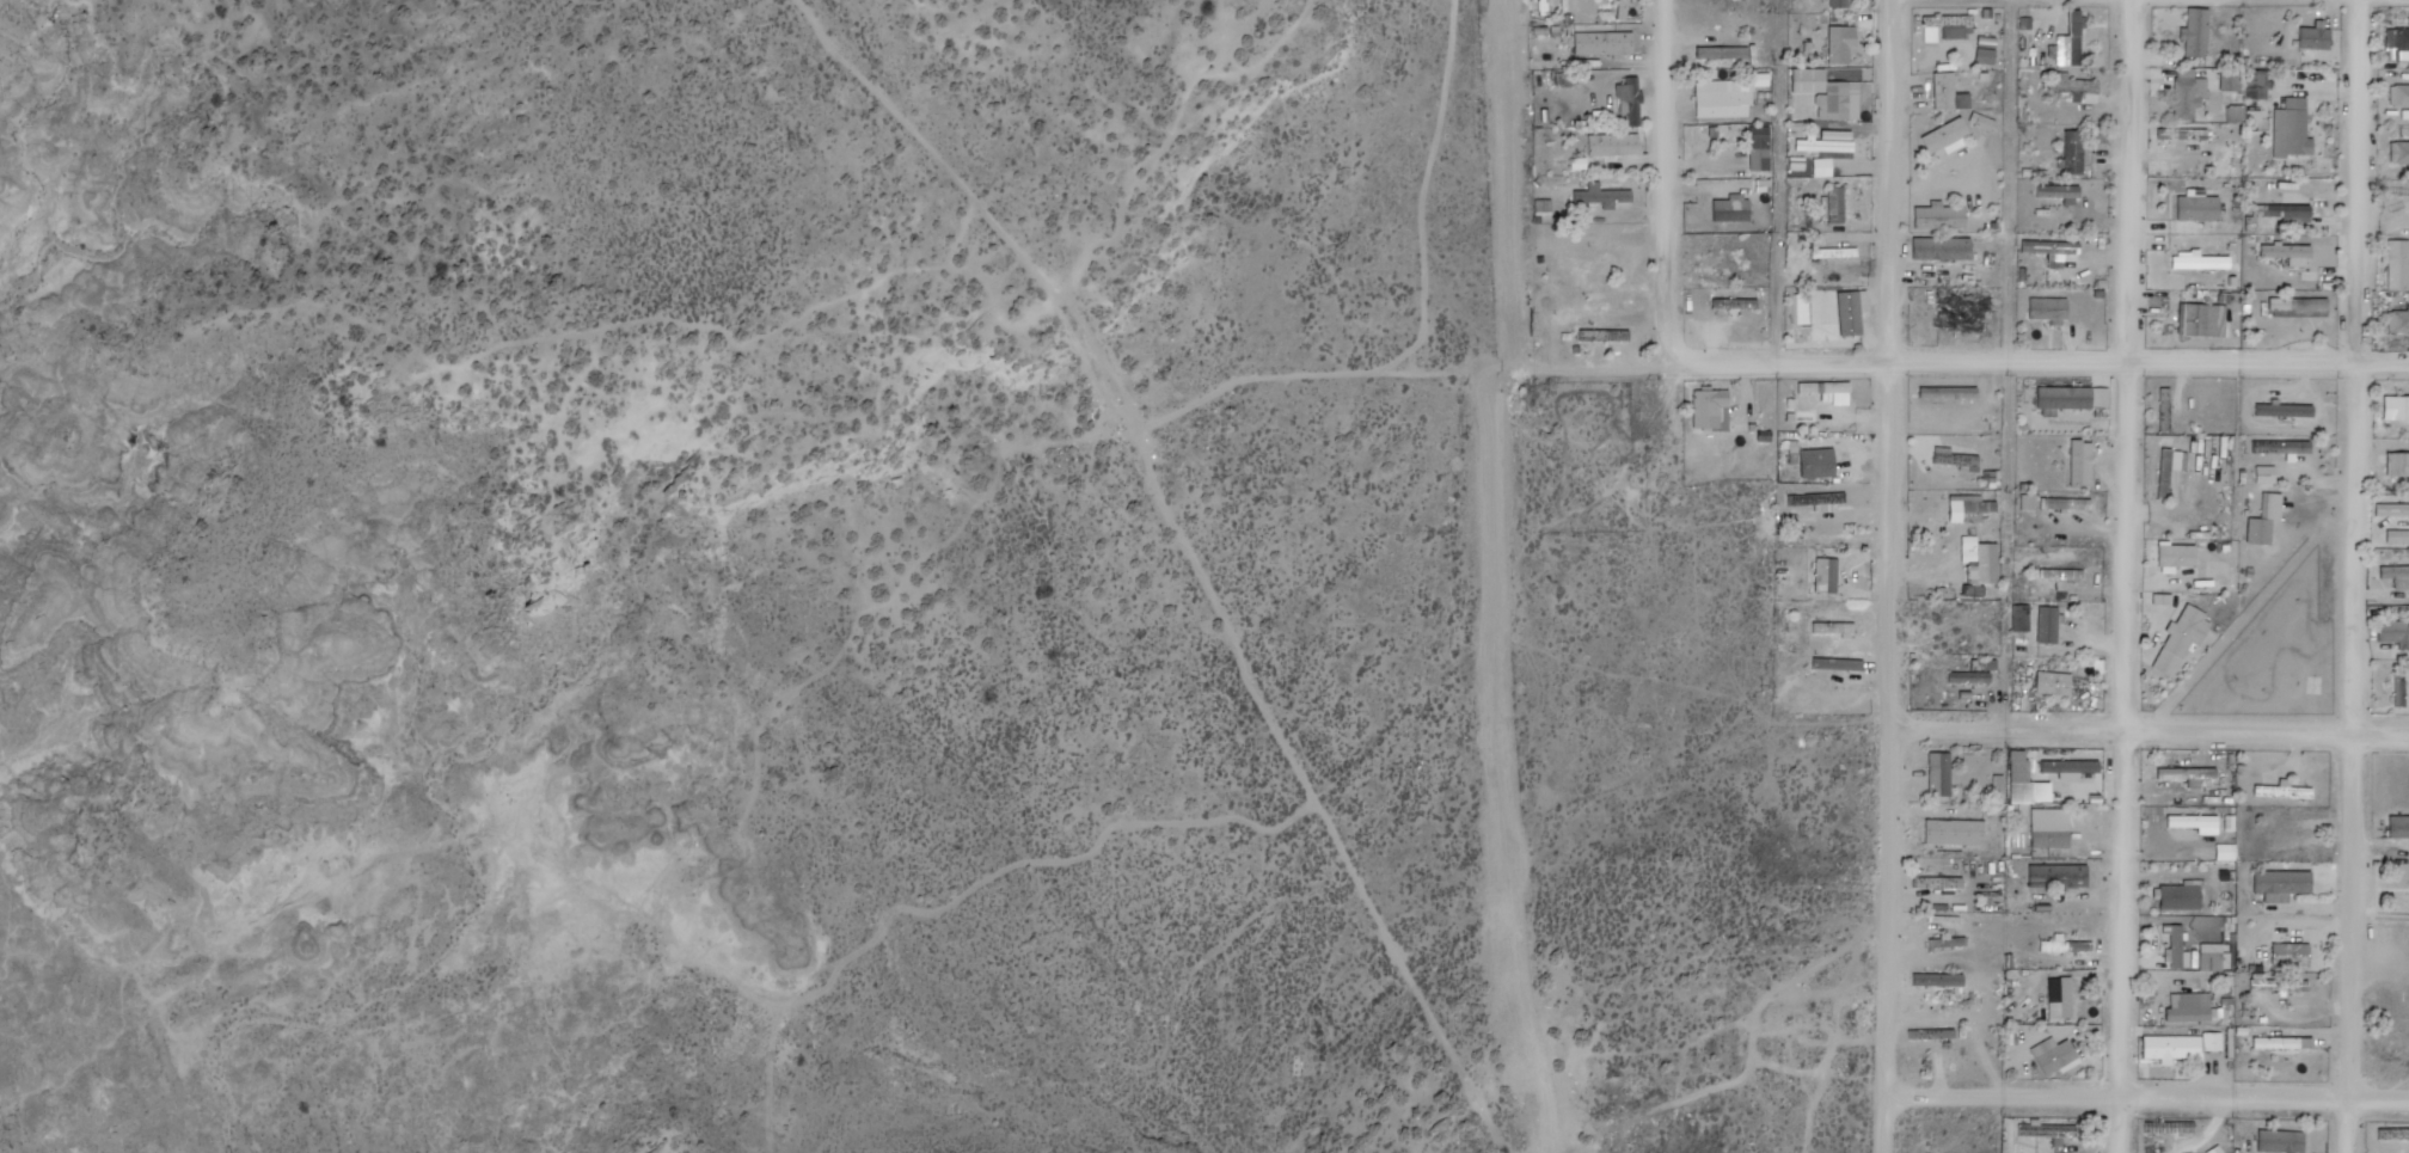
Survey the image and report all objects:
building: (1839, 4)
building: (1625, 10)
building: (2201, 33)
building: (2319, 37)
building: (2074, 42)
building: (1607, 43)
building: (2399, 44)
building: (1844, 45)
building: (1990, 49)
building: (1724, 53)
building: (1948, 91)
building: (2195, 92)
building: (2402, 96)
building: (1631, 100)
building: (1843, 100)
building: (1725, 103)
building: (2295, 129)
building: (2178, 133)
building: (1950, 136)
building: (1616, 145)
building: (1760, 148)
building: (2403, 148)
building: (2078, 153)
road: (1887, 179)
road: (2356, 180)
building: (2403, 190)
building: (2072, 200)
building: (1838, 204)
building: (1734, 208)
building: (2201, 209)
building: (2291, 213)
building: (1944, 219)
building: (2052, 247)
building: (1945, 249)
building: (2290, 251)
building: (1596, 256)
building: (2399, 263)
building: (2304, 307)
building: (2051, 311)
building: (1807, 314)
building: (1853, 314)
building: (1968, 314)
building: (2201, 320)
building: (2401, 323)
road: (2147, 358)
road: (1779, 361)
road: (2123, 366)
building: (2065, 395)
building: (1711, 406)
building: (2397, 406)
building: (2165, 407)
building: (1955, 410)
building: (2285, 410)
building: (2282, 446)
building: (1956, 458)
building: (2082, 460)
building: (1818, 461)
building: (2398, 462)
building: (2170, 468)
building: (2029, 501)
building: (2067, 502)
building: (1973, 508)
building: (2396, 509)
building: (2262, 522)
building: (1981, 559)
building: (2396, 572)
building: (1826, 574)
building: (2021, 617)
building: (2048, 624)
building: (1825, 626)
building: (2395, 632)
building: (2182, 638)
building: (1974, 674)
building: (2054, 683)
building: (2401, 687)
road: (2149, 732)
road: (1889, 756)
road: (2350, 758)
building: (2068, 763)
building: (2188, 773)
building: (1941, 774)
building: (2022, 779)
building: (2262, 790)
building: (2399, 826)
building: (1955, 832)
building: (2052, 836)
building: (2059, 875)
building: (2284, 883)
building: (2182, 897)
building: (1948, 942)
road: (2125, 943)
building: (2066, 945)
building: (2177, 945)
building: (2293, 953)
building: (1939, 979)
building: (2282, 983)
building: (2065, 999)
building: (2192, 1006)
building: (1933, 1034)
building: (2285, 1042)
building: (2218, 1043)
building: (2174, 1047)
building: (2054, 1054)
road: (2146, 1096)
building: (2282, 1141)

